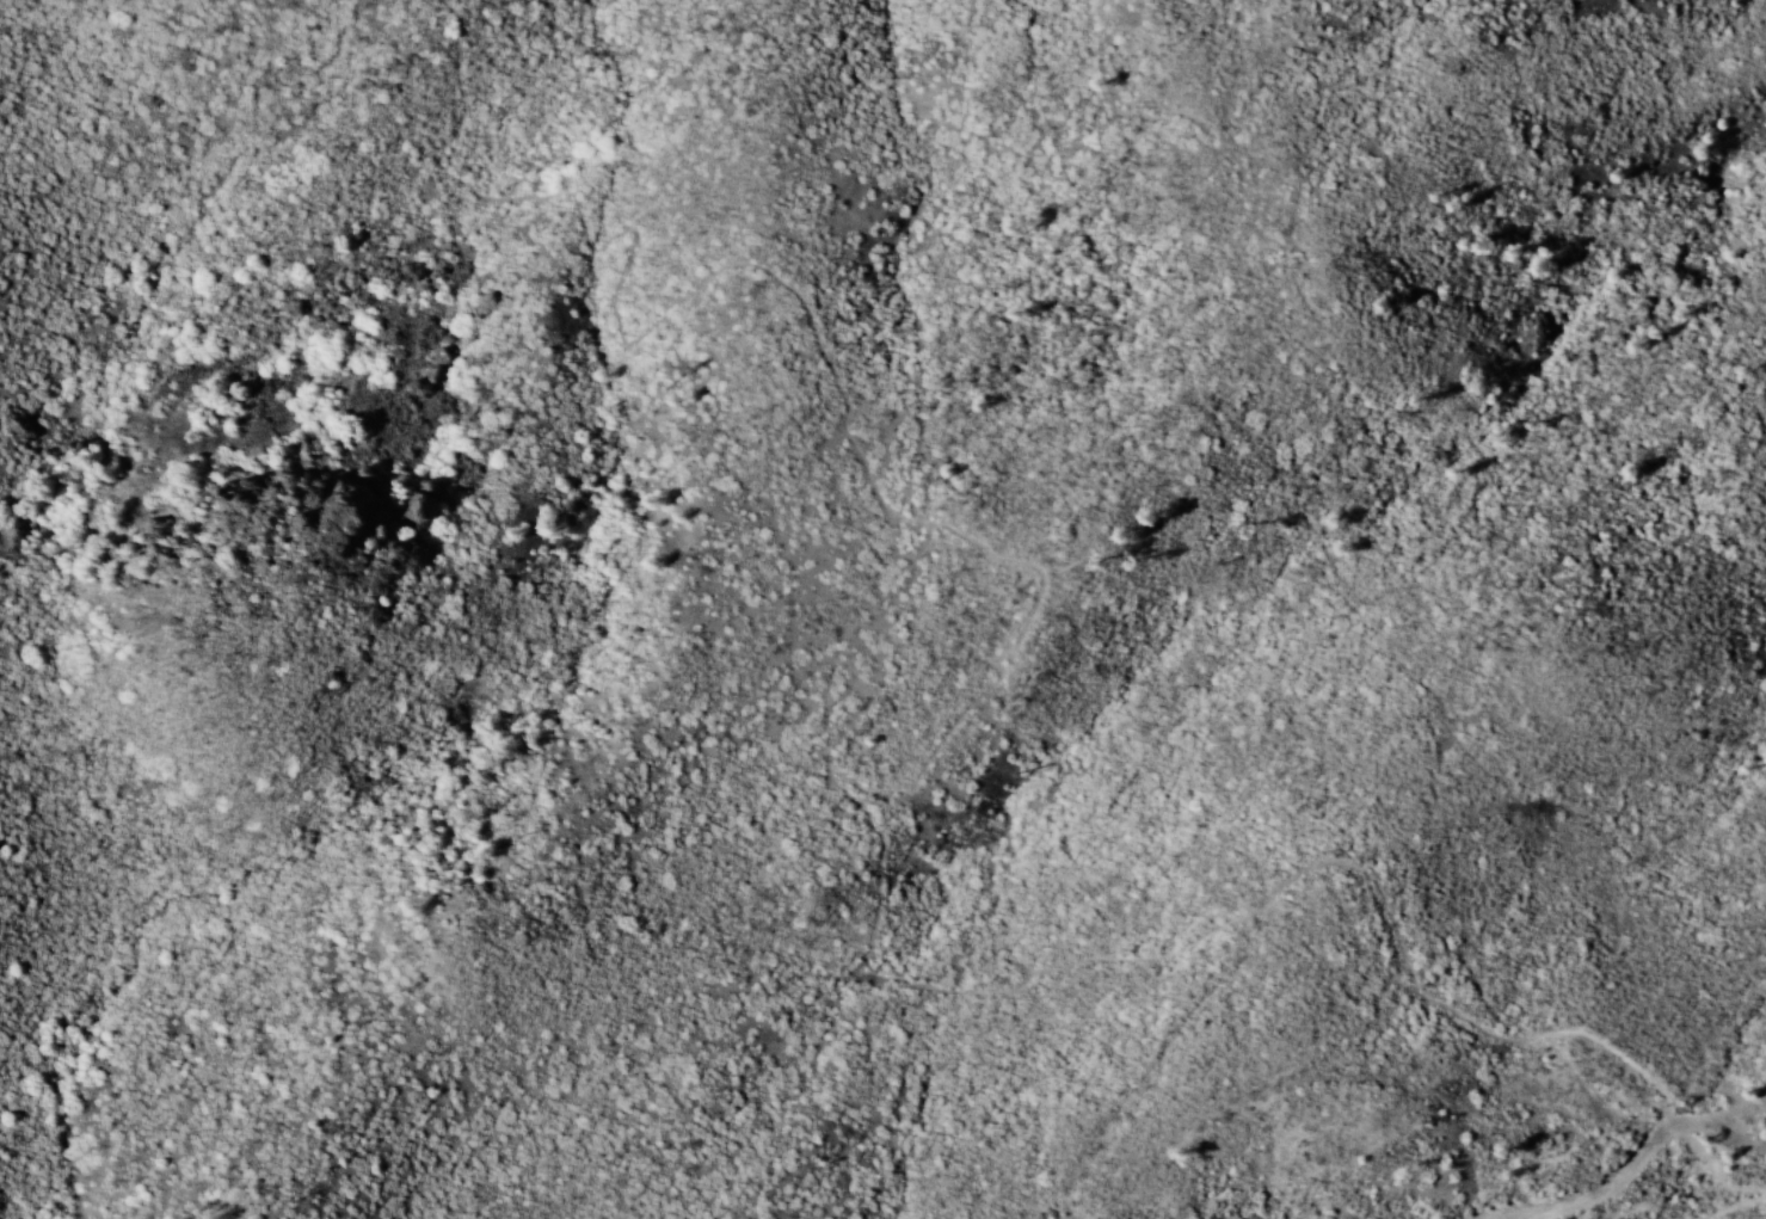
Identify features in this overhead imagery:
road: (1647, 1169)

